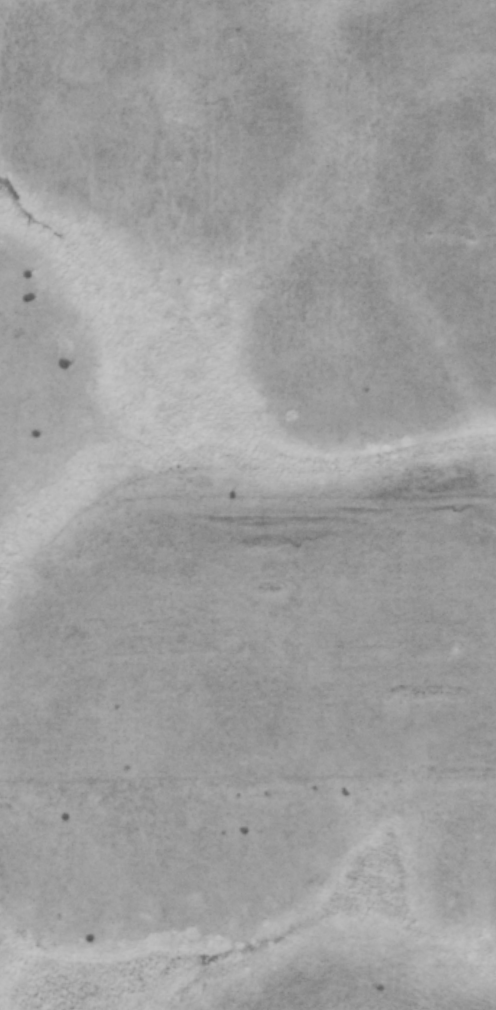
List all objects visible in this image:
road: (248, 798)

